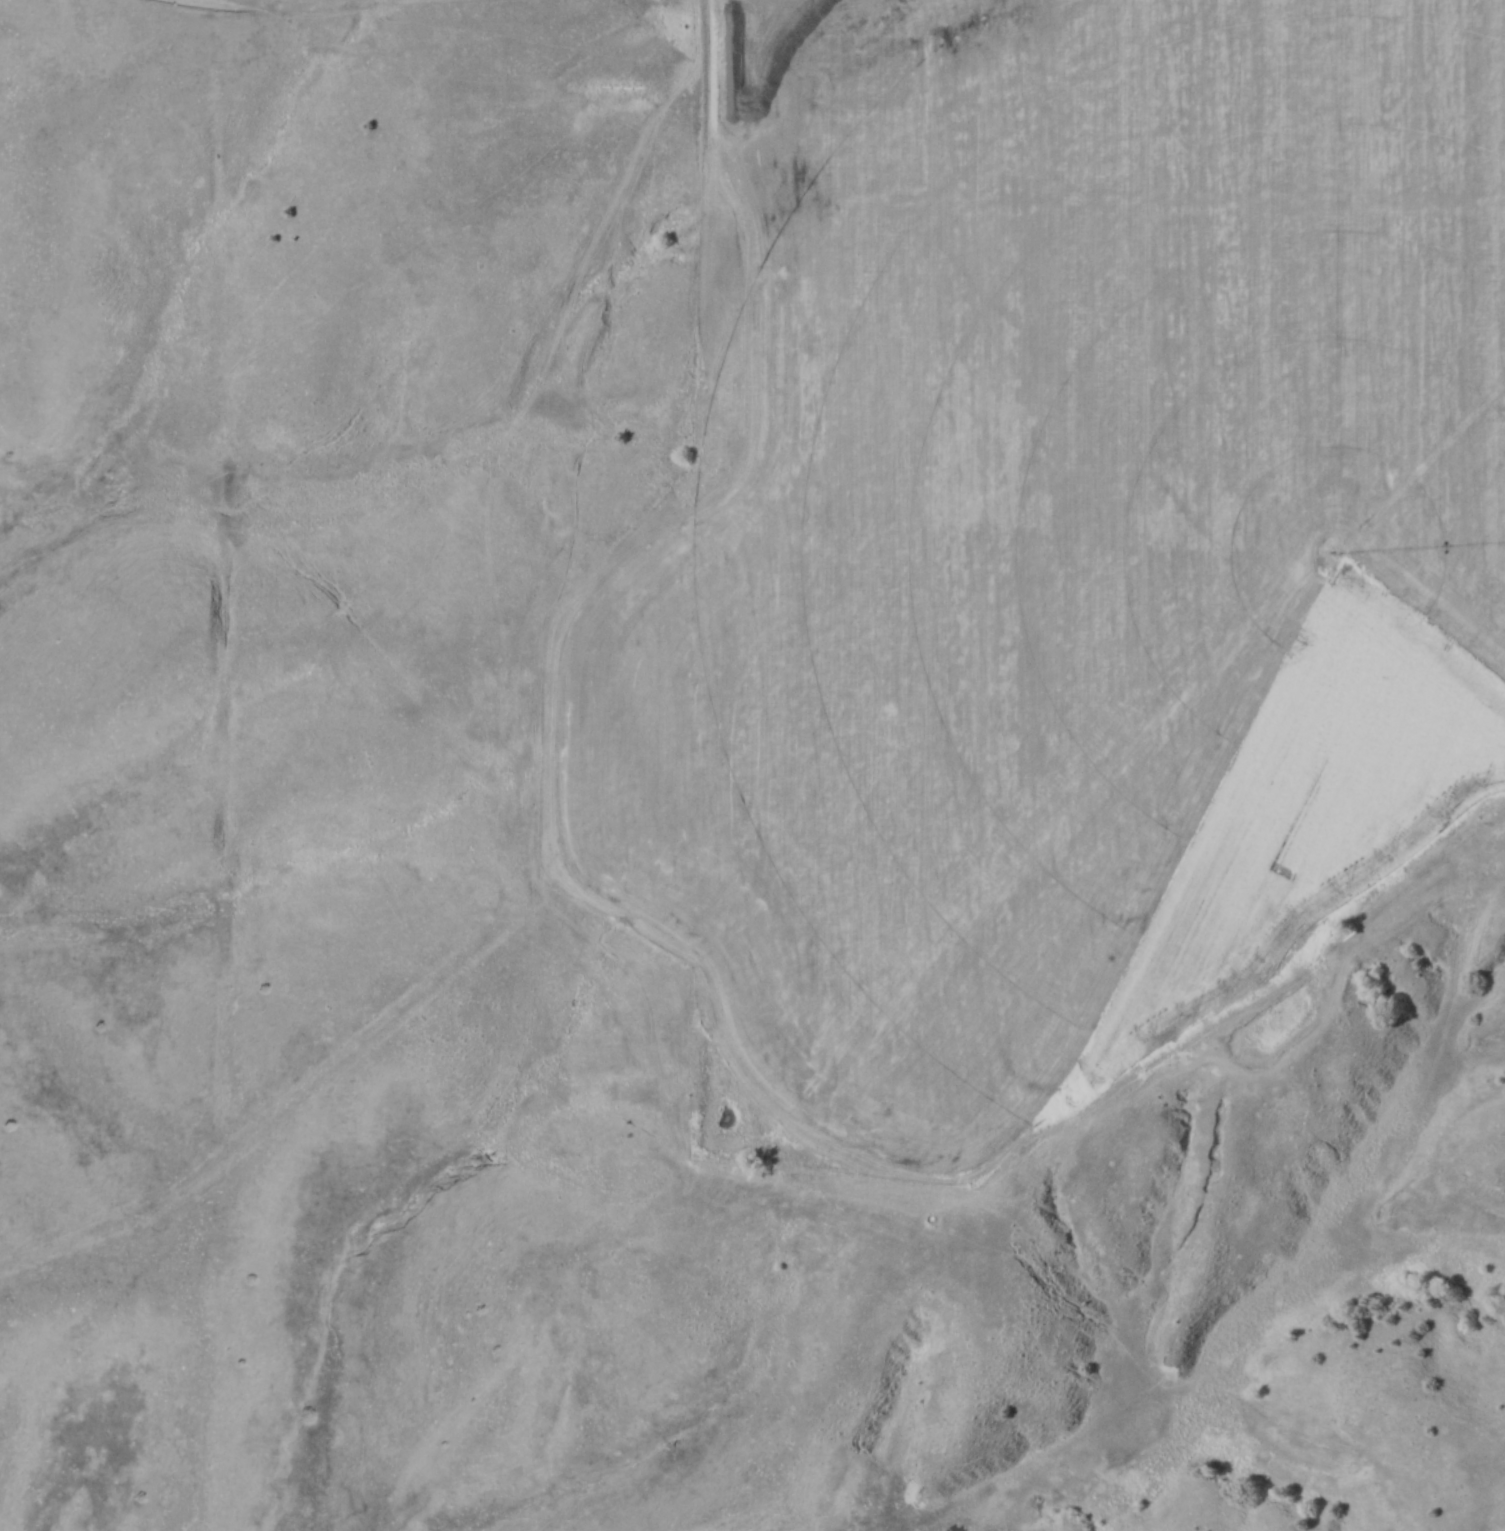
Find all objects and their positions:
crop: (1067, 553)

